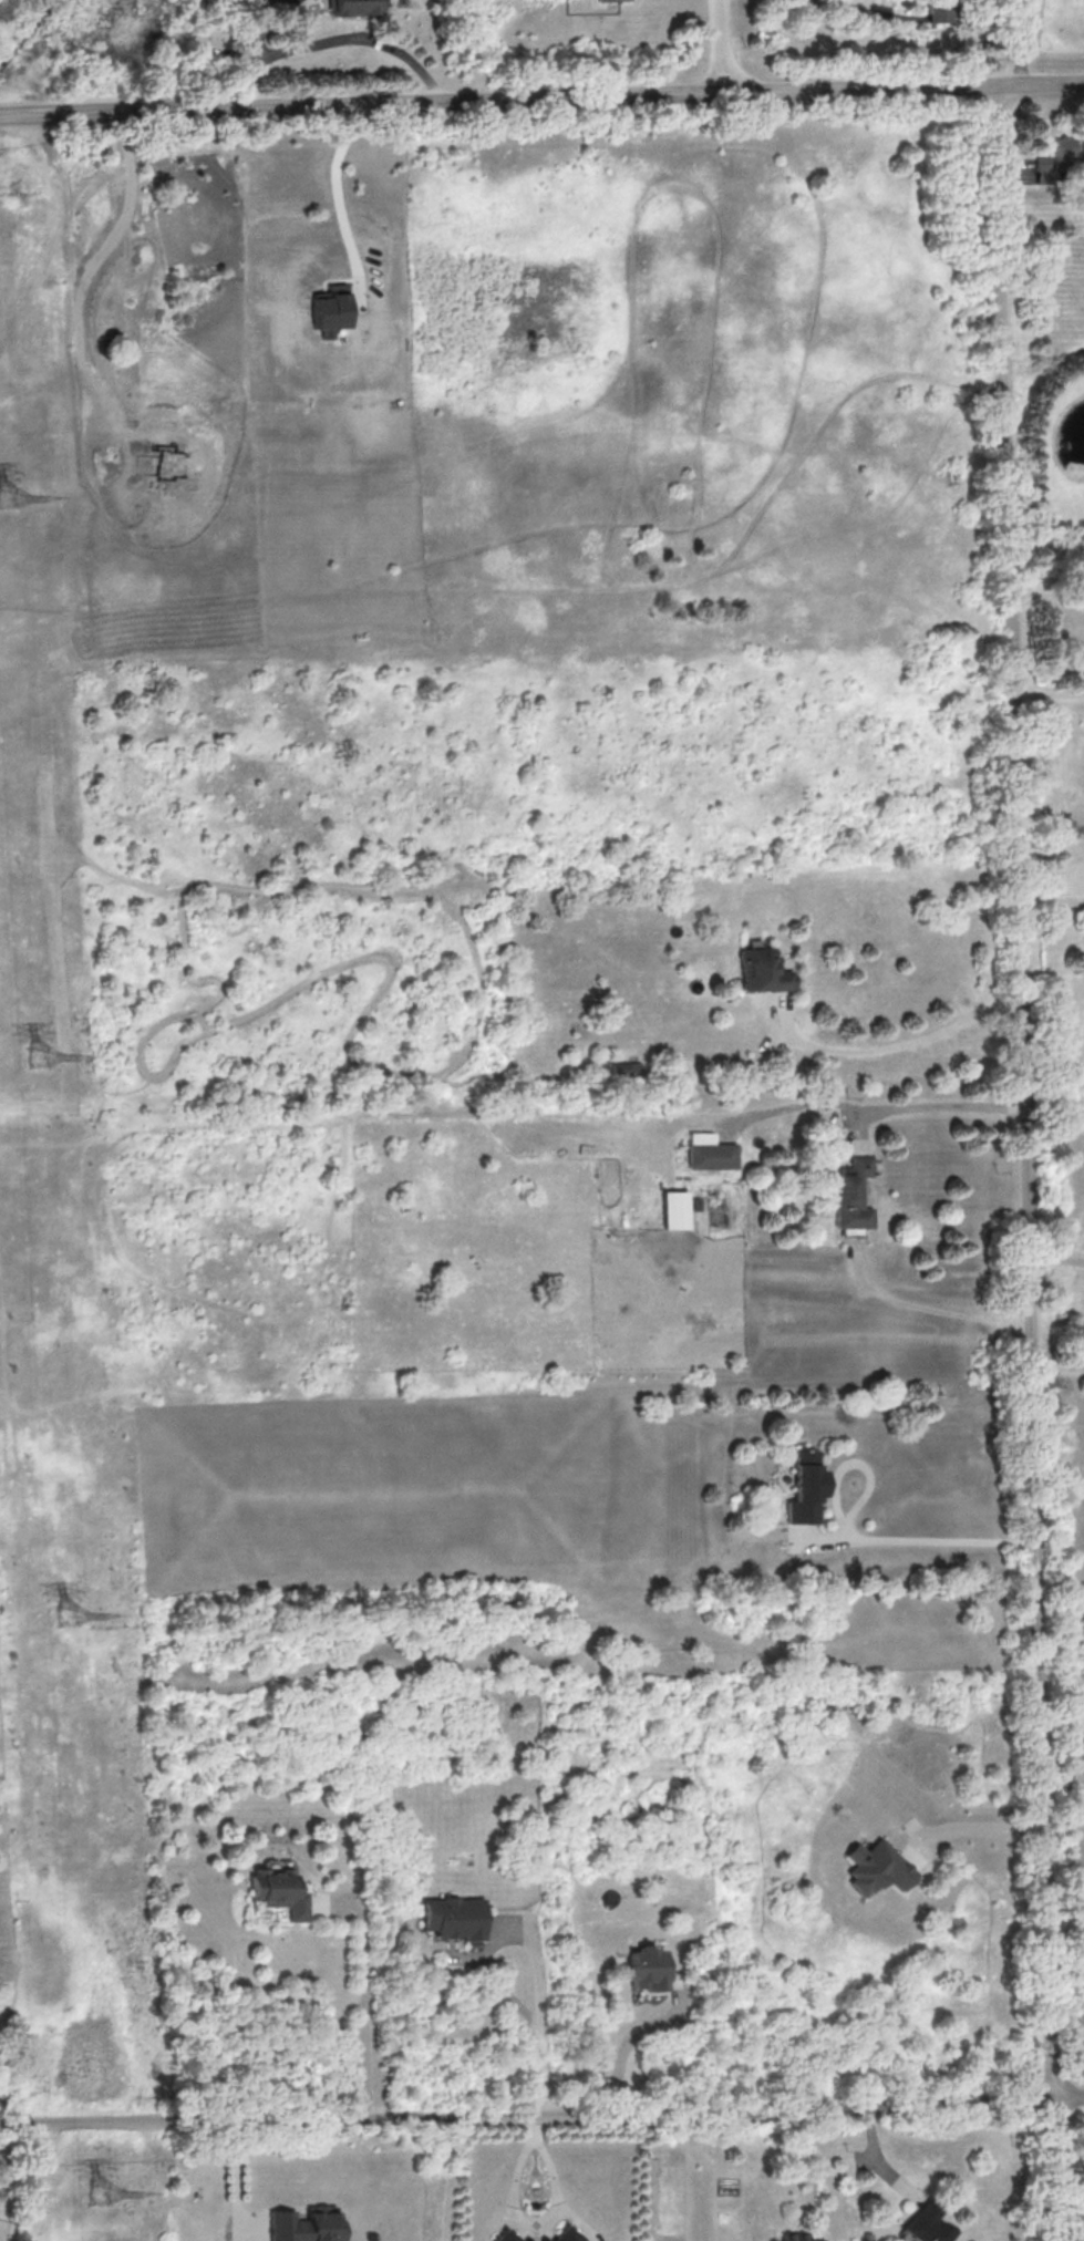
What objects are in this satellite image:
building: (603, 0)
building: (355, 7)
road: (836, 7)
building: (938, 11)
road: (361, 33)
road: (1023, 43)
road: (717, 48)
road: (252, 51)
road: (541, 102)
building: (1052, 162)
road: (338, 202)
road: (94, 267)
building: (327, 308)
building: (164, 462)
power tower: (7, 495)
road: (1045, 544)
road: (1083, 683)
road: (1047, 691)
road: (122, 878)
road: (1051, 906)
road: (229, 925)
building: (761, 974)
road: (885, 1047)
road: (171, 1054)
power tower: (39, 1056)
building: (624, 1068)
road: (874, 1106)
building: (708, 1152)
road: (1021, 1164)
building: (849, 1192)
building: (696, 1205)
building: (673, 1208)
road: (1054, 1260)
road: (931, 1310)
road: (1057, 1369)
building: (802, 1488)
road: (857, 1542)
power tower: (69, 1617)
road: (1062, 1765)
building: (750, 1794)
road: (979, 1821)
building: (875, 1867)
building: (277, 1891)
building: (453, 1917)
road: (531, 1946)
building: (647, 1968)
building: (696, 1969)
road: (361, 1992)
road: (629, 2043)
road: (541, 2117)
road: (870, 2158)
road: (235, 2167)
fountain: (535, 2186)
crop: (727, 2186)
power tower: (100, 2193)
crop: (668, 2196)
road: (806, 2198)
road: (258, 2216)
crop: (721, 2217)
road: (530, 2220)
building: (306, 2223)
building: (928, 2223)
road: (236, 2227)
building: (568, 2234)
building: (795, 2235)
building: (505, 2238)
building: (545, 2240)

